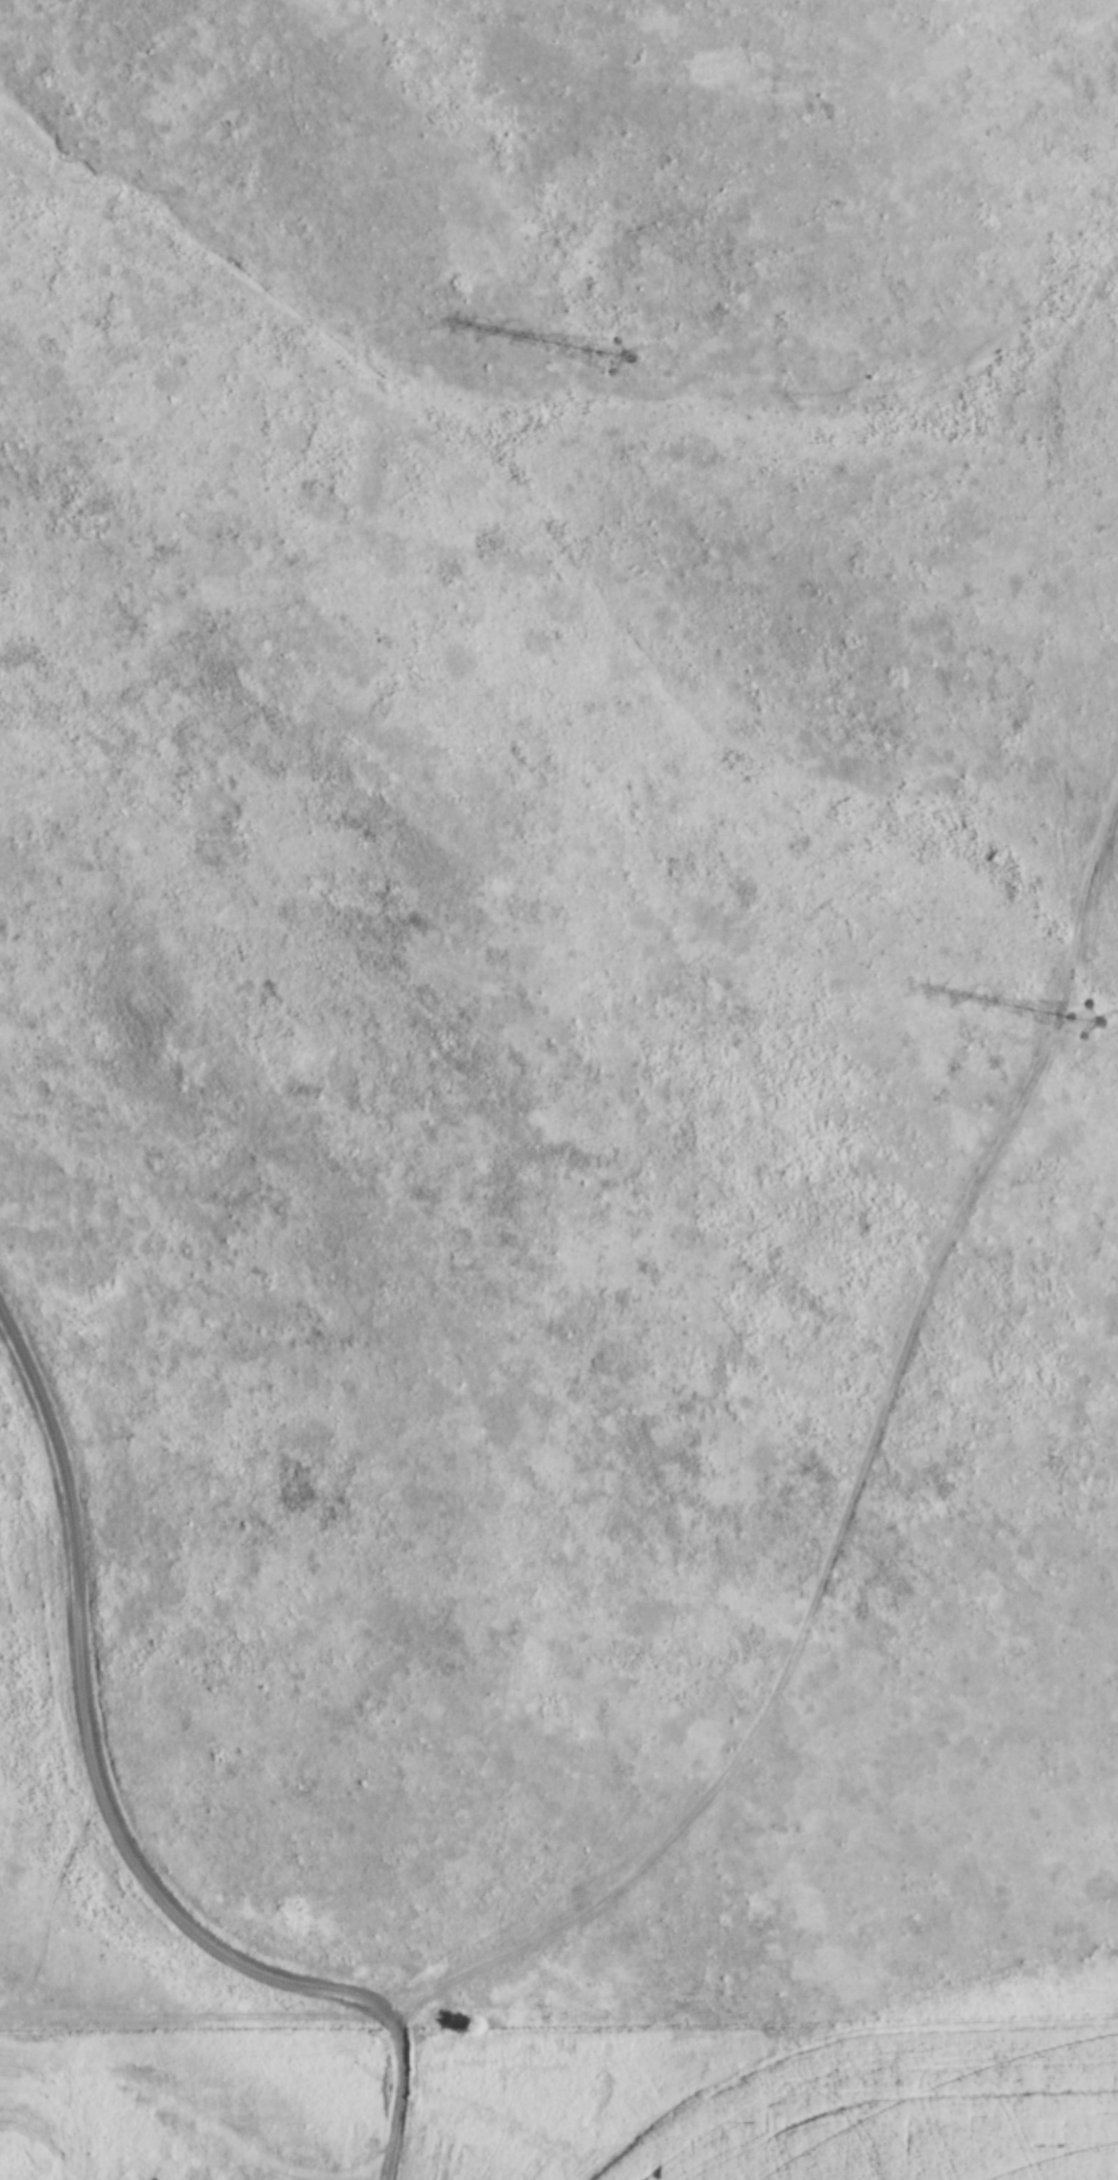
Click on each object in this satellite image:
power tower: (607, 356)
power tower: (1079, 1021)

